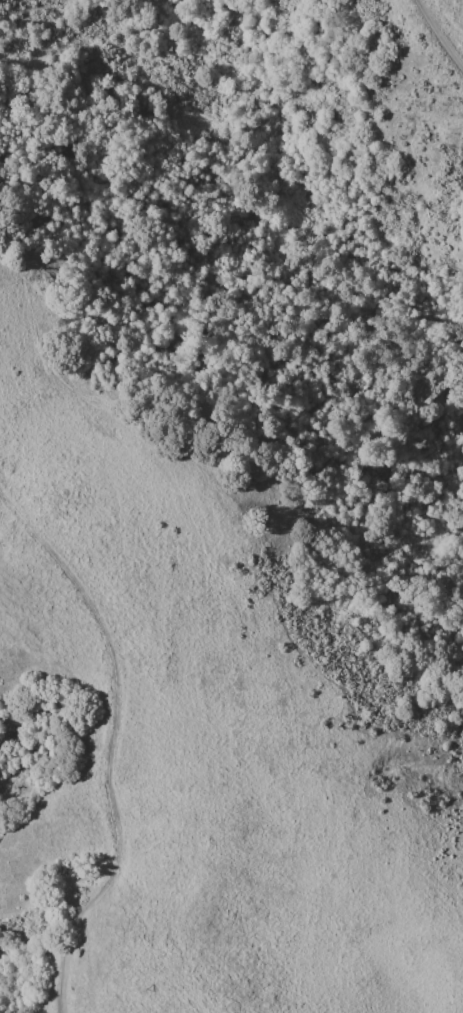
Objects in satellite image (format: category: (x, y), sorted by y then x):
road: (441, 29)
road: (111, 744)

